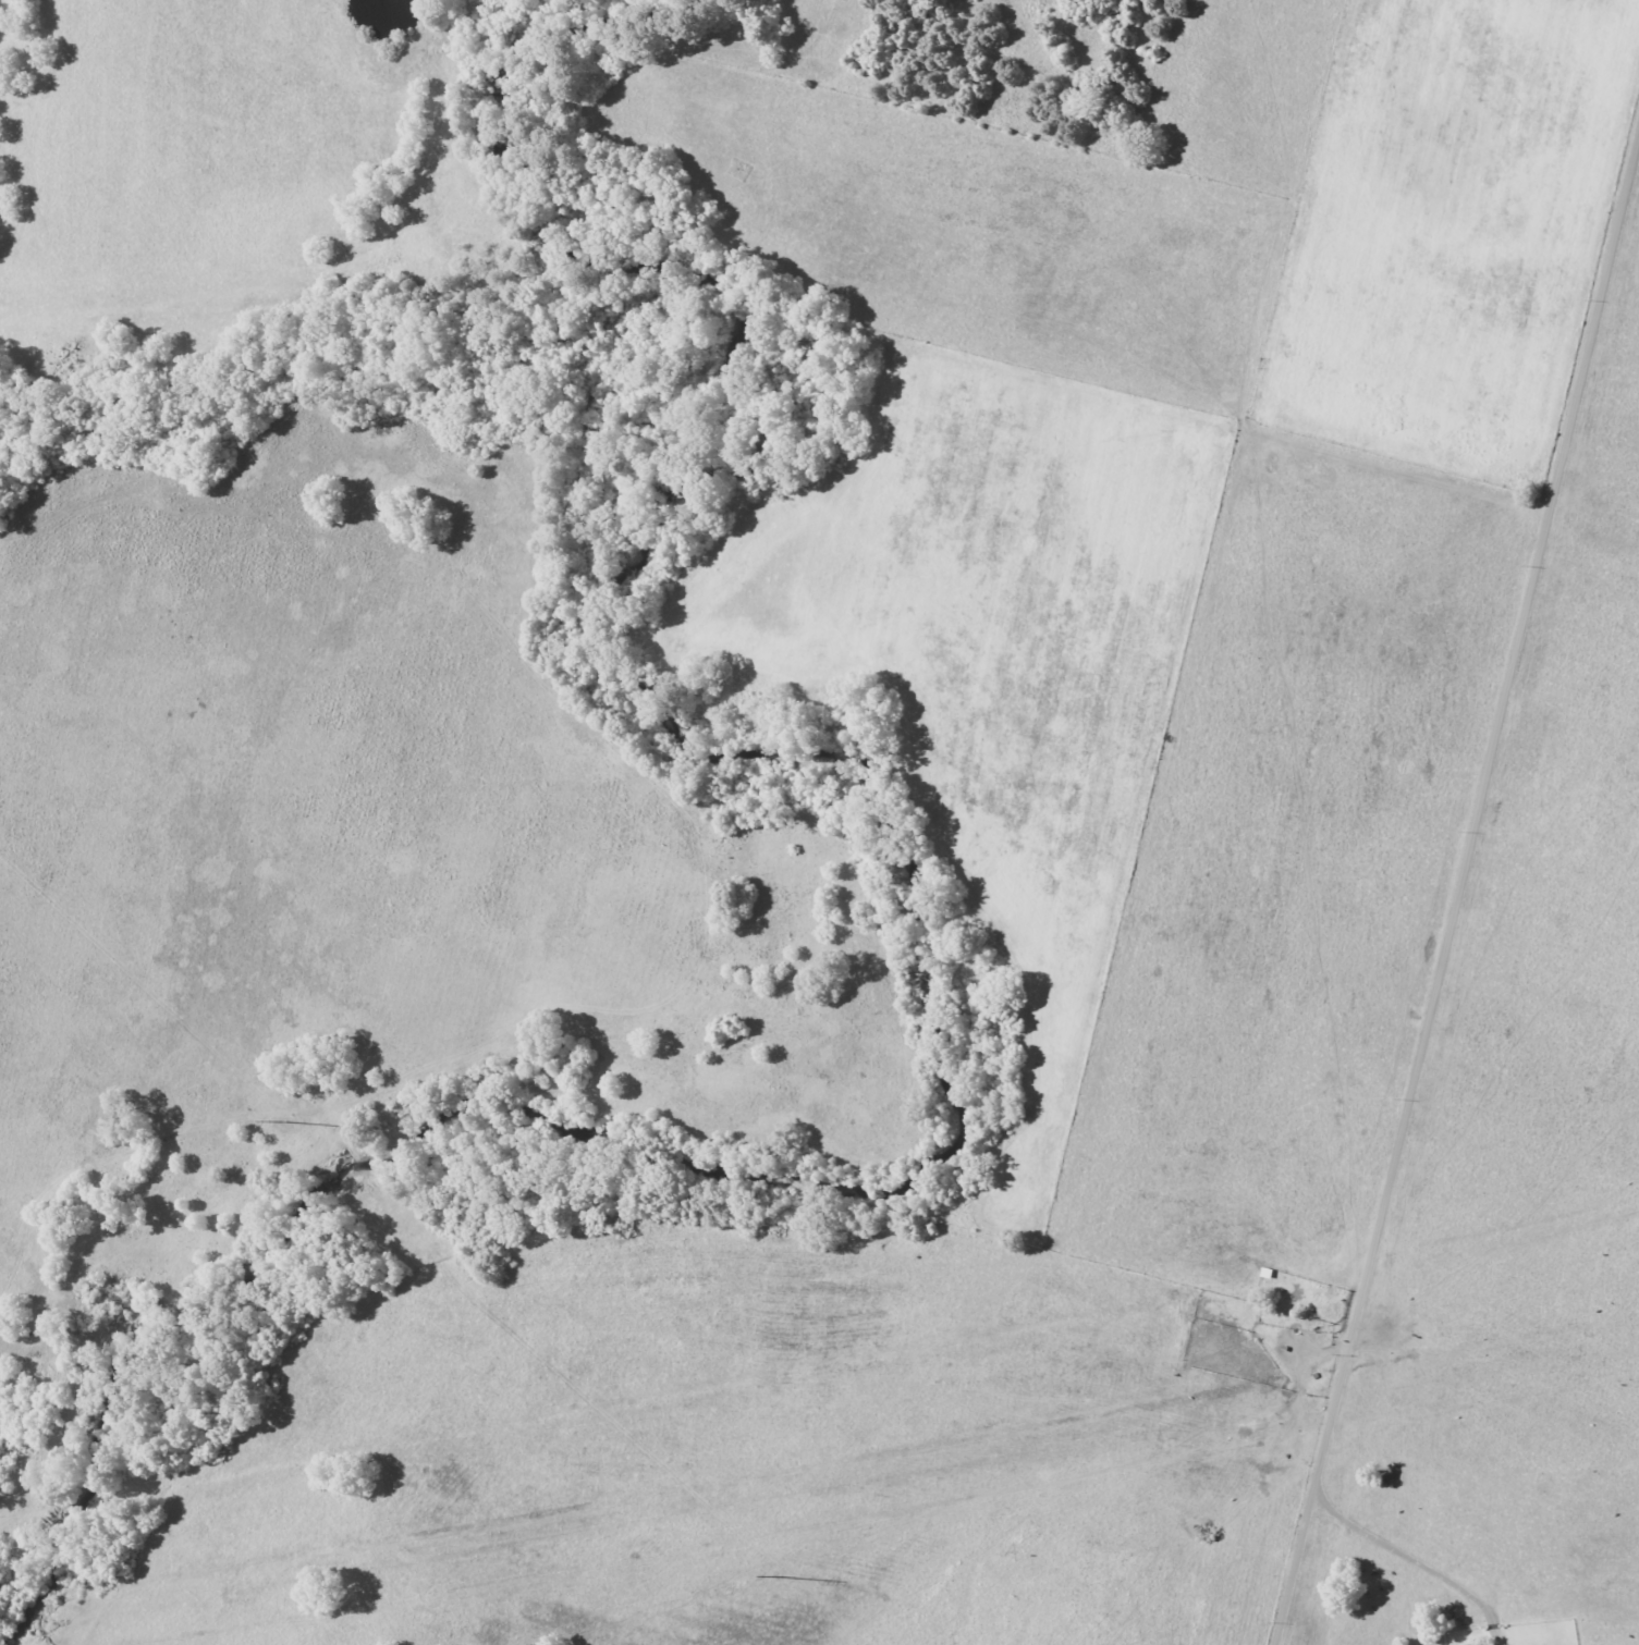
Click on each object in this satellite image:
road: (1457, 888)
power tower: (288, 1124)
road: (1412, 1562)
power tower: (776, 1573)

